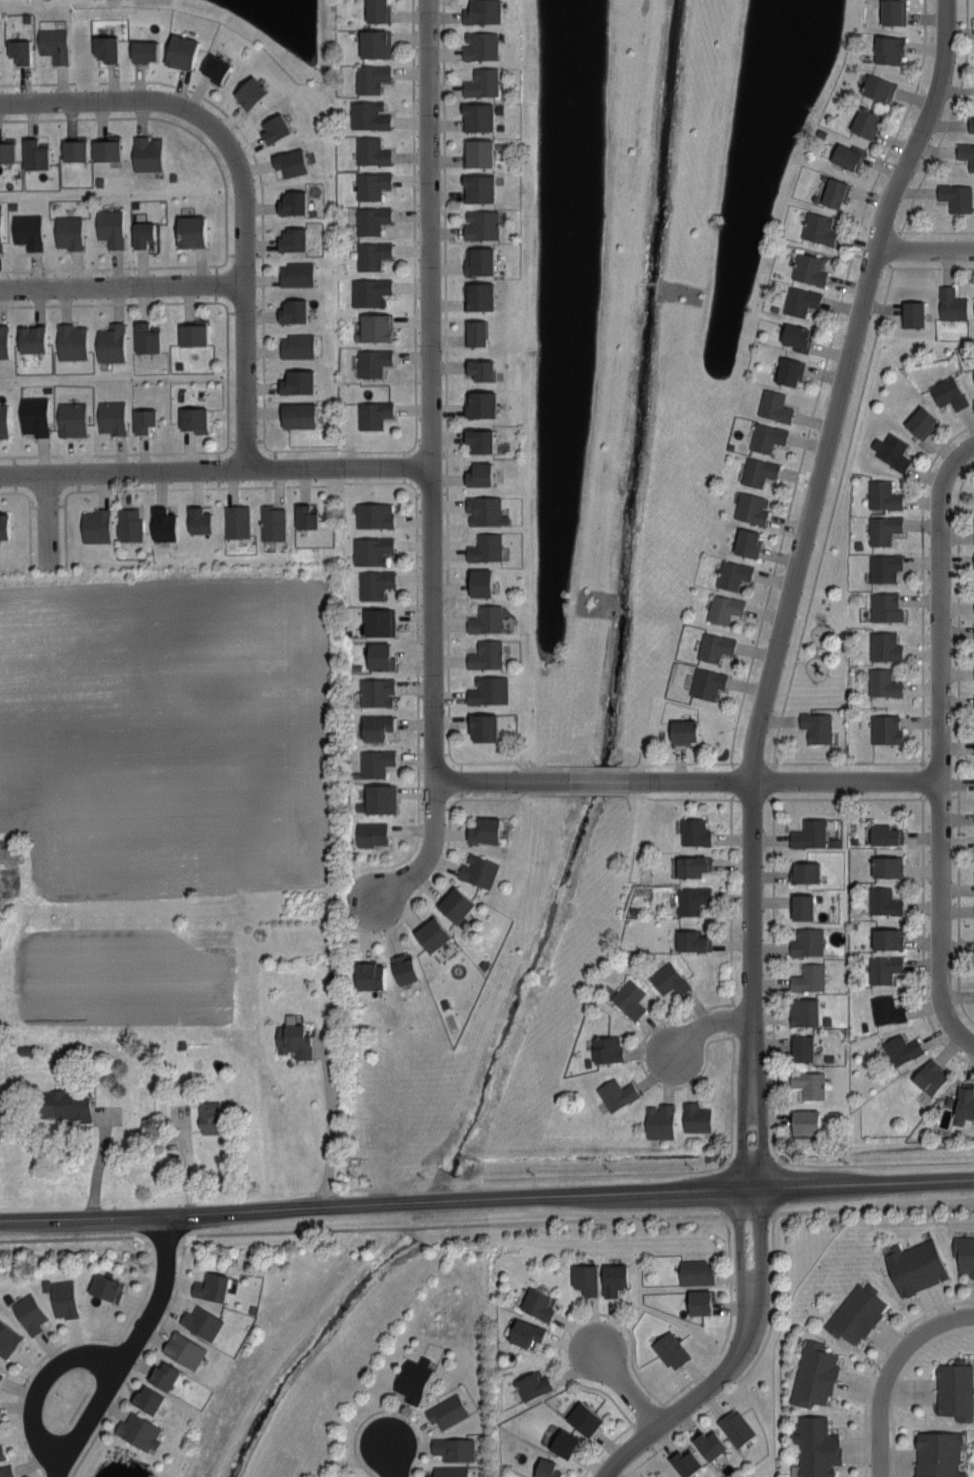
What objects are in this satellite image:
building: (376, 11)
building: (481, 12)
building: (892, 12)
building: (52, 44)
building: (373, 44)
building: (479, 46)
building: (104, 48)
building: (887, 50)
building: (18, 51)
building: (142, 51)
building: (180, 52)
building: (214, 68)
building: (370, 78)
building: (481, 82)
building: (877, 89)
road: (194, 92)
building: (249, 93)
building: (368, 115)
building: (477, 117)
road: (164, 119)
road: (949, 119)
building: (865, 123)
building: (970, 124)
building: (274, 129)
building: (73, 148)
building: (104, 148)
building: (6, 149)
building: (370, 151)
building: (34, 152)
building: (145, 152)
building: (477, 153)
building: (966, 154)
building: (848, 156)
building: (289, 161)
road: (879, 172)
road: (242, 183)
building: (370, 184)
building: (478, 187)
building: (834, 193)
building: (956, 197)
building: (291, 200)
building: (370, 218)
road: (415, 219)
building: (481, 223)
building: (109, 226)
building: (26, 229)
building: (189, 229)
building: (817, 229)
building: (67, 231)
road: (930, 231)
building: (142, 232)
building: (291, 237)
road: (817, 250)
road: (928, 250)
building: (370, 254)
road: (866, 255)
road: (226, 259)
building: (478, 259)
road: (924, 267)
road: (112, 268)
building: (807, 268)
building: (295, 273)
road: (121, 286)
building: (368, 290)
building: (479, 294)
building: (799, 299)
road: (221, 302)
road: (107, 303)
building: (951, 303)
building: (292, 309)
building: (912, 312)
building: (375, 325)
building: (475, 331)
building: (191, 333)
building: (796, 336)
building: (30, 337)
building: (145, 337)
building: (3, 341)
building: (70, 341)
building: (110, 342)
building: (295, 345)
road: (263, 350)
building: (371, 361)
building: (480, 368)
building: (973, 369)
building: (789, 370)
road: (228, 373)
building: (296, 380)
building: (948, 392)
building: (479, 402)
building: (773, 405)
building: (372, 413)
building: (33, 414)
building: (297, 414)
building: (110, 416)
building: (70, 418)
building: (192, 418)
building: (142, 419)
building: (3, 420)
building: (919, 420)
road: (808, 432)
road: (431, 434)
building: (766, 437)
building: (478, 439)
road: (228, 444)
road: (413, 445)
road: (342, 448)
road: (270, 449)
building: (890, 449)
road: (120, 453)
road: (10, 456)
road: (215, 470)
building: (757, 471)
building: (478, 473)
road: (837, 490)
road: (10, 492)
road: (69, 492)
building: (882, 494)
road: (27, 497)
building: (750, 507)
building: (484, 510)
building: (372, 514)
building: (304, 516)
building: (198, 519)
building: (236, 520)
road: (47, 521)
building: (272, 522)
building: (128, 523)
building: (162, 523)
building: (3, 524)
building: (94, 525)
road: (417, 528)
building: (882, 528)
road: (65, 534)
road: (30, 537)
building: (746, 541)
building: (484, 547)
building: (370, 549)
building: (883, 566)
building: (732, 574)
building: (479, 581)
building: (374, 583)
road: (789, 584)
building: (884, 606)
building: (723, 607)
park: (823, 608)
building: (485, 618)
building: (378, 621)
road: (756, 642)
building: (883, 645)
building: (714, 646)
building: (485, 654)
building: (379, 655)
road: (800, 660)
building: (882, 682)
building: (706, 683)
building: (487, 689)
building: (375, 691)
building: (375, 726)
building: (482, 726)
building: (815, 726)
building: (885, 728)
building: (683, 730)
road: (776, 740)
road: (939, 742)
road: (958, 744)
building: (374, 762)
road: (486, 763)
road: (688, 779)
road: (596, 793)
building: (379, 797)
road: (843, 798)
building: (483, 829)
building: (693, 831)
building: (370, 833)
building: (808, 833)
building: (885, 834)
building: (692, 865)
building: (886, 865)
building: (477, 870)
building: (803, 871)
road: (400, 882)
road: (428, 882)
road: (730, 899)
building: (688, 900)
building: (882, 901)
building: (455, 904)
building: (801, 906)
building: (431, 933)
building: (886, 937)
road: (923, 939)
building: (691, 940)
building: (806, 941)
building: (403, 967)
building: (883, 968)
building: (368, 975)
building: (808, 977)
building: (668, 979)
building: (628, 998)
building: (886, 1009)
building: (803, 1011)
road: (709, 1025)
building: (292, 1038)
building: (801, 1047)
building: (606, 1048)
building: (901, 1049)
road: (642, 1064)
road: (774, 1074)
building: (930, 1076)
building: (808, 1083)
building: (616, 1093)
building: (64, 1104)
building: (964, 1104)
building: (208, 1116)
building: (695, 1117)
building: (659, 1121)
building: (805, 1121)
road: (329, 1125)
road: (97, 1163)
road: (671, 1171)
road: (486, 1198)
road: (874, 1208)
road: (714, 1215)
road: (773, 1219)
road: (419, 1225)
road: (71, 1236)
road: (186, 1237)
road: (143, 1238)
building: (965, 1252)
building: (917, 1266)
building: (697, 1272)
building: (587, 1279)
building: (616, 1279)
road: (739, 1280)
road: (759, 1282)
building: (213, 1287)
building: (108, 1288)
building: (65, 1298)
building: (702, 1302)
building: (540, 1304)
building: (31, 1313)
road: (134, 1313)
building: (858, 1313)
road: (730, 1317)
road: (574, 1319)
building: (203, 1322)
building: (528, 1334)
building: (8, 1339)
road: (126, 1350)
building: (186, 1350)
building: (672, 1350)
road: (879, 1360)
building: (0, 1366)
road: (887, 1370)
building: (165, 1375)
road: (743, 1375)
building: (816, 1375)
building: (1, 1376)
road: (26, 1378)
building: (415, 1379)
road: (899, 1380)
road: (126, 1384)
building: (536, 1385)
road: (38, 1386)
road: (625, 1389)
building: (957, 1389)
building: (150, 1399)
road: (665, 1401)
road: (384, 1409)
building: (449, 1411)
building: (587, 1419)
road: (664, 1421)
building: (738, 1427)
building: (140, 1431)
building: (566, 1443)
building: (712, 1445)
road: (606, 1446)
building: (818, 1447)
building: (455, 1449)
building: (2, 1451)
building: (940, 1454)
road: (392, 1460)
park: (110, 1461)
building: (688, 1462)
building: (549, 1469)
building: (7, 1471)
building: (451, 1472)
building: (651, 1476)

